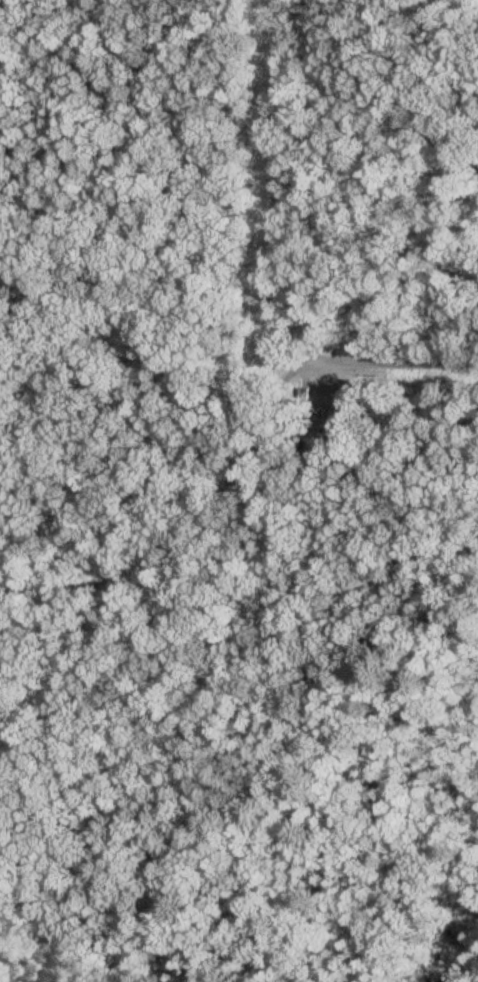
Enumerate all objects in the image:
road: (382, 149)
road: (291, 243)
road: (209, 500)

